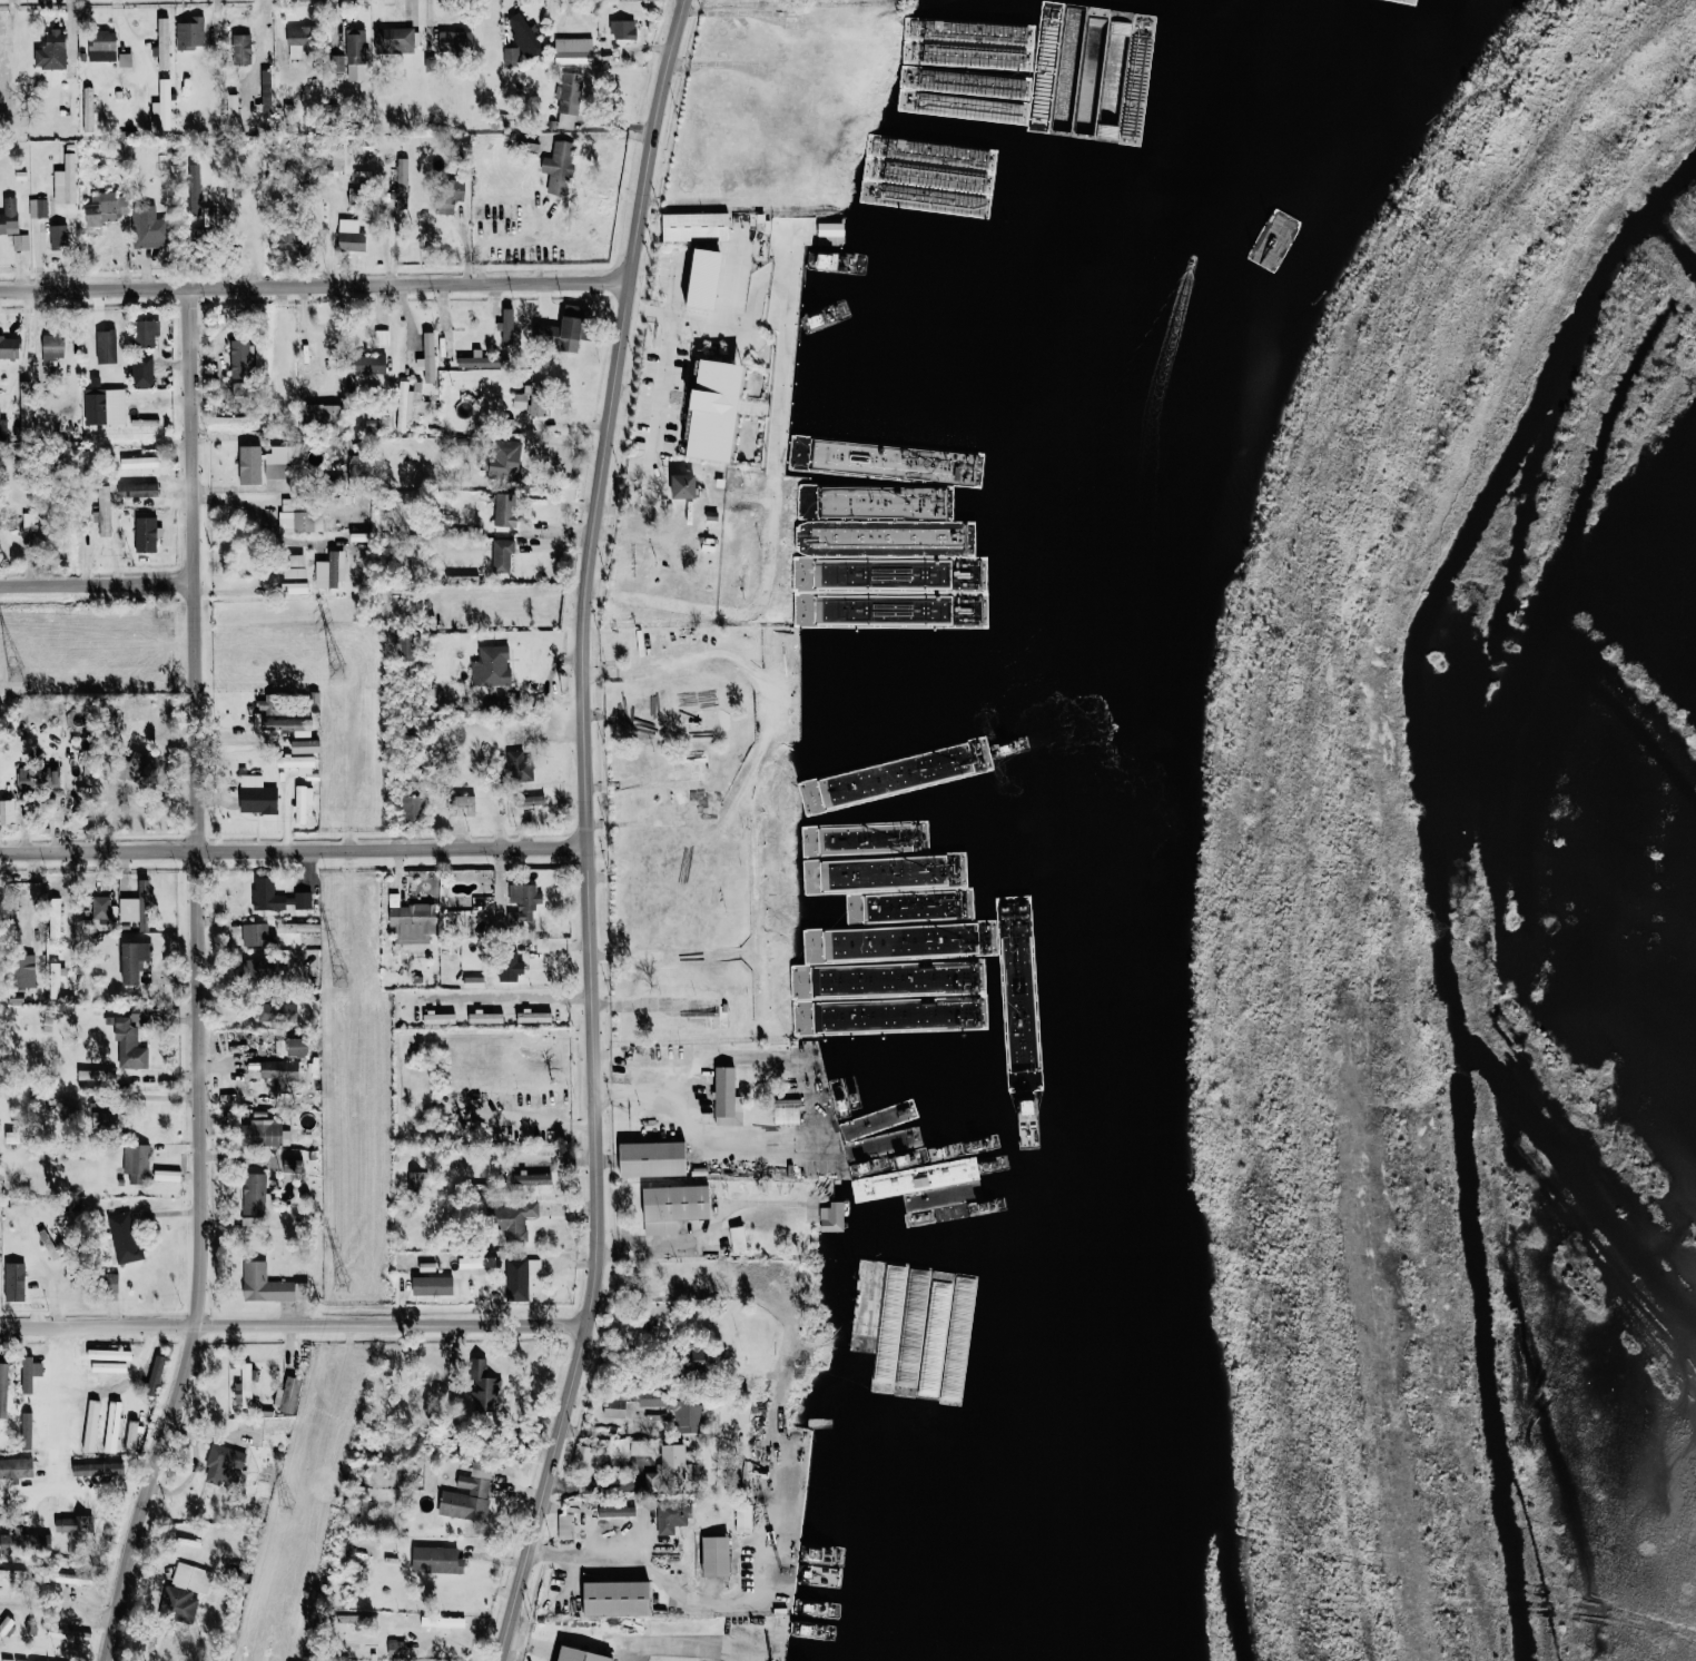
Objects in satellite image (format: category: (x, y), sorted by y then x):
building: (623, 28)
building: (190, 32)
building: (524, 34)
building: (394, 39)
building: (162, 41)
building: (299, 41)
building: (455, 42)
building: (102, 45)
building: (241, 48)
building: (51, 49)
building: (574, 50)
building: (356, 53)
building: (162, 106)
building: (233, 108)
building: (501, 120)
building: (532, 147)
building: (914, 152)
building: (337, 161)
building: (559, 167)
building: (66, 180)
building: (402, 182)
building: (448, 194)
building: (107, 206)
building: (38, 207)
building: (9, 216)
building: (696, 226)
building: (147, 227)
building: (830, 228)
building: (58, 234)
building: (351, 235)
building: (292, 240)
building: (20, 241)
building: (707, 277)
road: (314, 284)
road: (726, 323)
building: (507, 325)
building: (562, 330)
building: (145, 332)
building: (382, 336)
building: (52, 346)
building: (106, 346)
building: (10, 347)
building: (427, 357)
building: (475, 360)
building: (141, 370)
building: (369, 370)
building: (532, 398)
building: (418, 401)
building: (402, 405)
building: (105, 406)
building: (717, 409)
building: (319, 413)
road: (658, 416)
building: (376, 423)
building: (264, 458)
building: (506, 458)
building: (140, 462)
building: (355, 468)
road: (775, 471)
building: (684, 485)
building: (137, 490)
building: (505, 508)
building: (103, 511)
building: (298, 518)
building: (14, 520)
building: (145, 533)
building: (502, 555)
building: (295, 565)
building: (329, 570)
road: (671, 575)
road: (98, 580)
building: (294, 587)
building: (865, 596)
building: (492, 665)
power tower: (14, 670)
power tower: (335, 670)
building: (268, 704)
building: (289, 725)
building: (306, 747)
building: (297, 762)
building: (521, 767)
building: (22, 777)
building: (257, 795)
building: (532, 800)
building: (302, 802)
building: (464, 804)
building: (413, 808)
road: (583, 833)
road: (292, 849)
landfill: (1487, 874)
building: (36, 888)
building: (277, 897)
building: (482, 902)
building: (524, 902)
building: (136, 907)
building: (100, 908)
building: (55, 917)
building: (413, 922)
building: (257, 935)
building: (134, 961)
building: (260, 968)
building: (510, 968)
building: (23, 970)
power tower: (338, 978)
building: (955, 978)
building: (56, 979)
building: (859, 979)
road: (200, 980)
building: (474, 981)
road: (509, 997)
building: (278, 1011)
building: (440, 1018)
building: (130, 1037)
building: (298, 1047)
building: (280, 1072)
road: (137, 1098)
building: (728, 1098)
building: (107, 1114)
road: (553, 1120)
road: (699, 1126)
building: (264, 1131)
building: (653, 1159)
building: (136, 1161)
building: (293, 1166)
building: (167, 1175)
building: (531, 1178)
building: (254, 1194)
building: (674, 1207)
building: (832, 1216)
building: (511, 1217)
road: (709, 1226)
building: (124, 1237)
building: (738, 1238)
building: (476, 1263)
building: (520, 1277)
building: (14, 1282)
building: (111, 1283)
building: (264, 1284)
building: (433, 1285)
power tower: (344, 1286)
road: (298, 1324)
building: (701, 1358)
building: (109, 1361)
building: (155, 1376)
building: (244, 1386)
building: (483, 1387)
building: (3, 1388)
building: (288, 1394)
building: (615, 1407)
building: (677, 1411)
building: (76, 1422)
building: (97, 1423)
building: (41, 1426)
building: (112, 1426)
building: (55, 1432)
building: (131, 1435)
building: (224, 1464)
building: (16, 1467)
building: (97, 1469)
building: (674, 1471)
road: (82, 1485)
building: (469, 1494)
power tower: (288, 1509)
building: (617, 1512)
building: (672, 1517)
building: (743, 1517)
building: (76, 1524)
building: (565, 1526)
building: (26, 1542)
road: (586, 1554)
building: (717, 1556)
building: (437, 1560)
building: (12, 1574)
building: (59, 1576)
building: (191, 1578)
building: (618, 1599)
building: (178, 1603)
road: (58, 1606)
building: (442, 1622)
building: (4, 1625)
building: (68, 1634)
road: (520, 1641)
road: (634, 1641)
building: (396, 1650)
building: (580, 1655)

